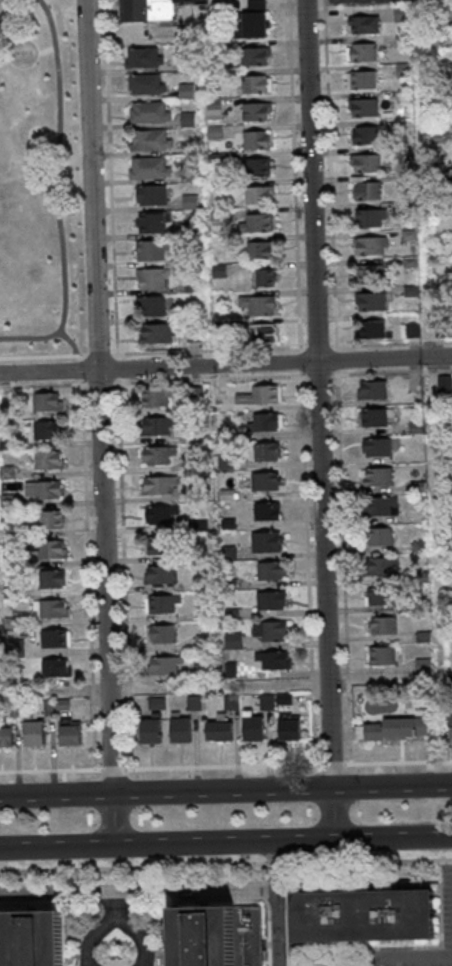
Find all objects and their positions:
parking lot: (360, 2)
building: (154, 9)
building: (399, 14)
building: (252, 19)
building: (360, 24)
building: (401, 41)
building: (431, 41)
building: (360, 52)
building: (253, 56)
building: (141, 58)
building: (183, 63)
building: (401, 71)
building: (211, 76)
building: (361, 80)
building: (144, 84)
building: (253, 85)
building: (184, 91)
building: (402, 96)
building: (361, 107)
building: (212, 108)
building: (254, 111)
building: (147, 112)
building: (186, 120)
building: (403, 125)
building: (212, 132)
building: (361, 135)
building: (434, 138)
building: (148, 140)
building: (254, 140)
building: (185, 148)
building: (404, 152)
building: (213, 159)
building: (363, 163)
building: (252, 166)
building: (433, 168)
building: (147, 169)
building: (186, 175)
building: (405, 179)
park: (37, 182)
building: (365, 191)
building: (257, 194)
building: (149, 195)
building: (188, 202)
building: (406, 207)
building: (215, 214)
building: (367, 218)
building: (148, 223)
building: (255, 223)
building: (189, 230)
building: (407, 235)
building: (367, 245)
building: (259, 250)
building: (149, 251)
building: (190, 259)
building: (408, 262)
building: (217, 271)
building: (367, 274)
building: (150, 277)
building: (262, 278)
building: (190, 287)
building: (408, 291)
building: (368, 301)
building: (256, 305)
building: (148, 306)
building: (219, 326)
building: (370, 329)
building: (439, 329)
building: (408, 331)
building: (155, 334)
building: (192, 334)
building: (257, 334)
road: (426, 335)
road: (225, 364)
building: (442, 383)
building: (370, 390)
building: (193, 394)
building: (153, 396)
building: (257, 396)
building: (44, 402)
building: (373, 416)
road: (319, 419)
road: (102, 422)
building: (261, 422)
building: (153, 425)
building: (414, 427)
building: (44, 430)
building: (222, 434)
building: (194, 437)
building: (6, 444)
building: (375, 447)
building: (264, 452)
building: (156, 455)
building: (447, 457)
building: (46, 460)
building: (223, 462)
building: (196, 466)
building: (5, 472)
building: (375, 476)
building: (263, 481)
building: (156, 485)
building: (415, 487)
building: (41, 490)
building: (225, 495)
building: (197, 496)
building: (447, 499)
building: (7, 502)
building: (378, 506)
building: (264, 511)
building: (158, 514)
building: (45, 519)
building: (197, 525)
building: (226, 525)
building: (376, 536)
building: (264, 542)
building: (156, 545)
building: (418, 546)
building: (448, 546)
building: (47, 549)
building: (226, 553)
building: (199, 556)
building: (377, 566)
building: (268, 570)
building: (157, 575)
building: (49, 579)
building: (227, 584)
building: (8, 592)
building: (380, 596)
building: (268, 600)
building: (160, 604)
building: (49, 609)
building: (229, 614)
building: (200, 615)
building: (10, 623)
building: (381, 626)
building: (267, 631)
building: (159, 634)
building: (447, 634)
building: (421, 636)
building: (52, 639)
building: (231, 641)
building: (201, 643)
building: (12, 648)
building: (383, 655)
building: (271, 661)
building: (161, 665)
building: (421, 667)
building: (54, 668)
building: (228, 670)
building: (201, 672)
building: (282, 699)
building: (421, 701)
building: (229, 702)
building: (264, 702)
building: (154, 703)
building: (192, 703)
building: (60, 705)
building: (47, 708)
building: (12, 709)
building: (450, 717)
building: (250, 727)
building: (286, 728)
building: (177, 729)
building: (148, 730)
building: (217, 730)
building: (394, 730)
building: (31, 732)
building: (68, 733)
building: (450, 733)
building: (5, 737)
road: (225, 765)
road: (392, 786)
road: (165, 792)
road: (225, 841)
road: (274, 864)
road: (226, 865)
road: (137, 891)
road: (113, 903)
parking lot: (446, 907)
road: (114, 916)
building: (365, 916)
road: (275, 927)
building: (220, 936)
building: (37, 939)
road: (405, 955)

